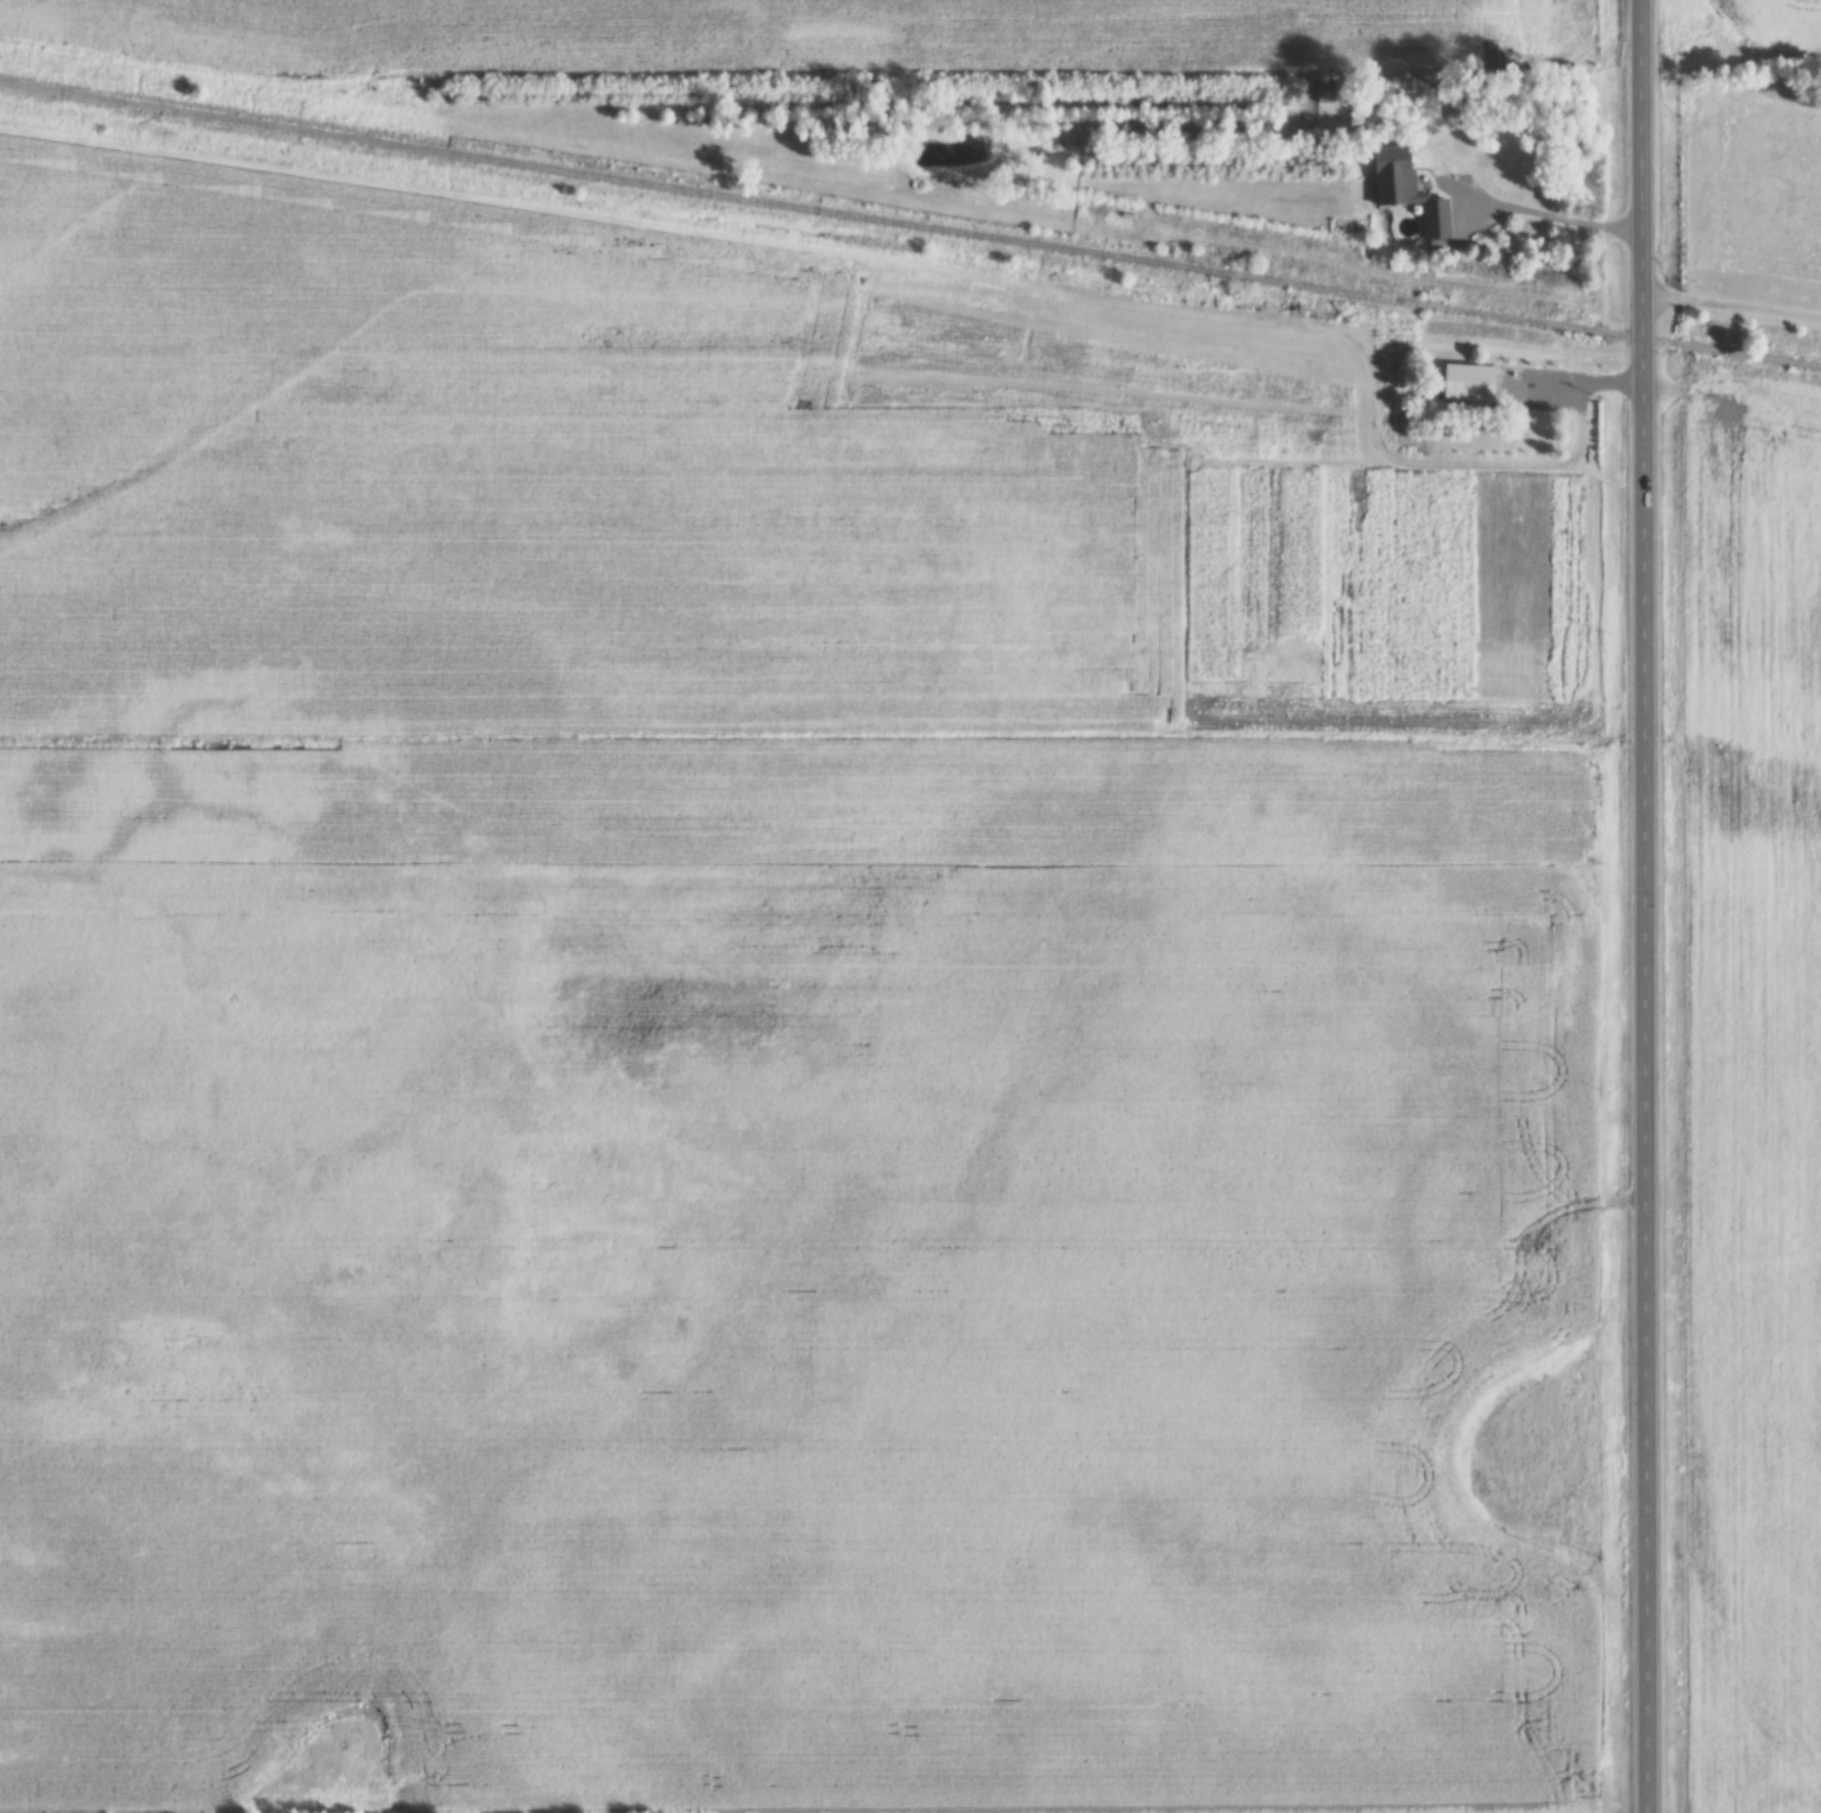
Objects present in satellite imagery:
building: (1407, 193)
road: (1551, 218)
railway: (908, 243)
road: (1731, 308)
building: (1469, 385)
road: (1637, 906)

